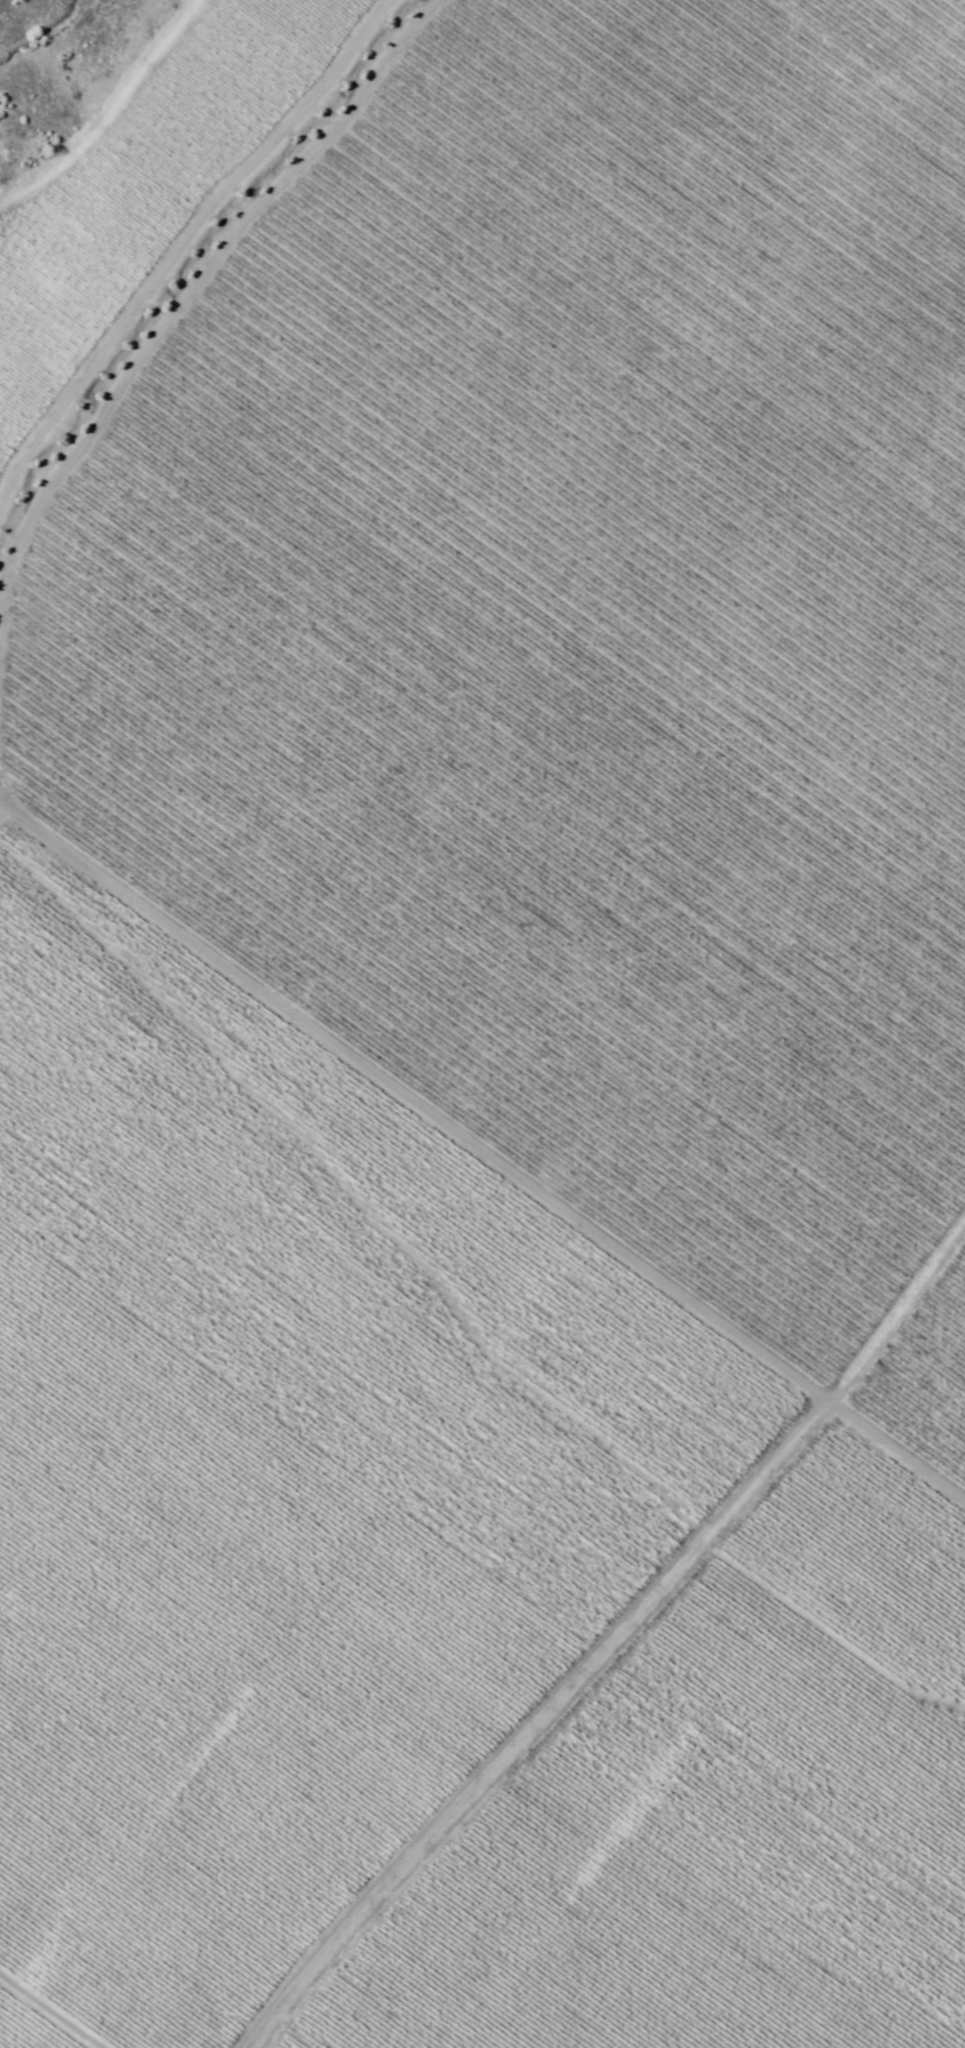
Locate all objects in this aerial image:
road: (489, 1151)

